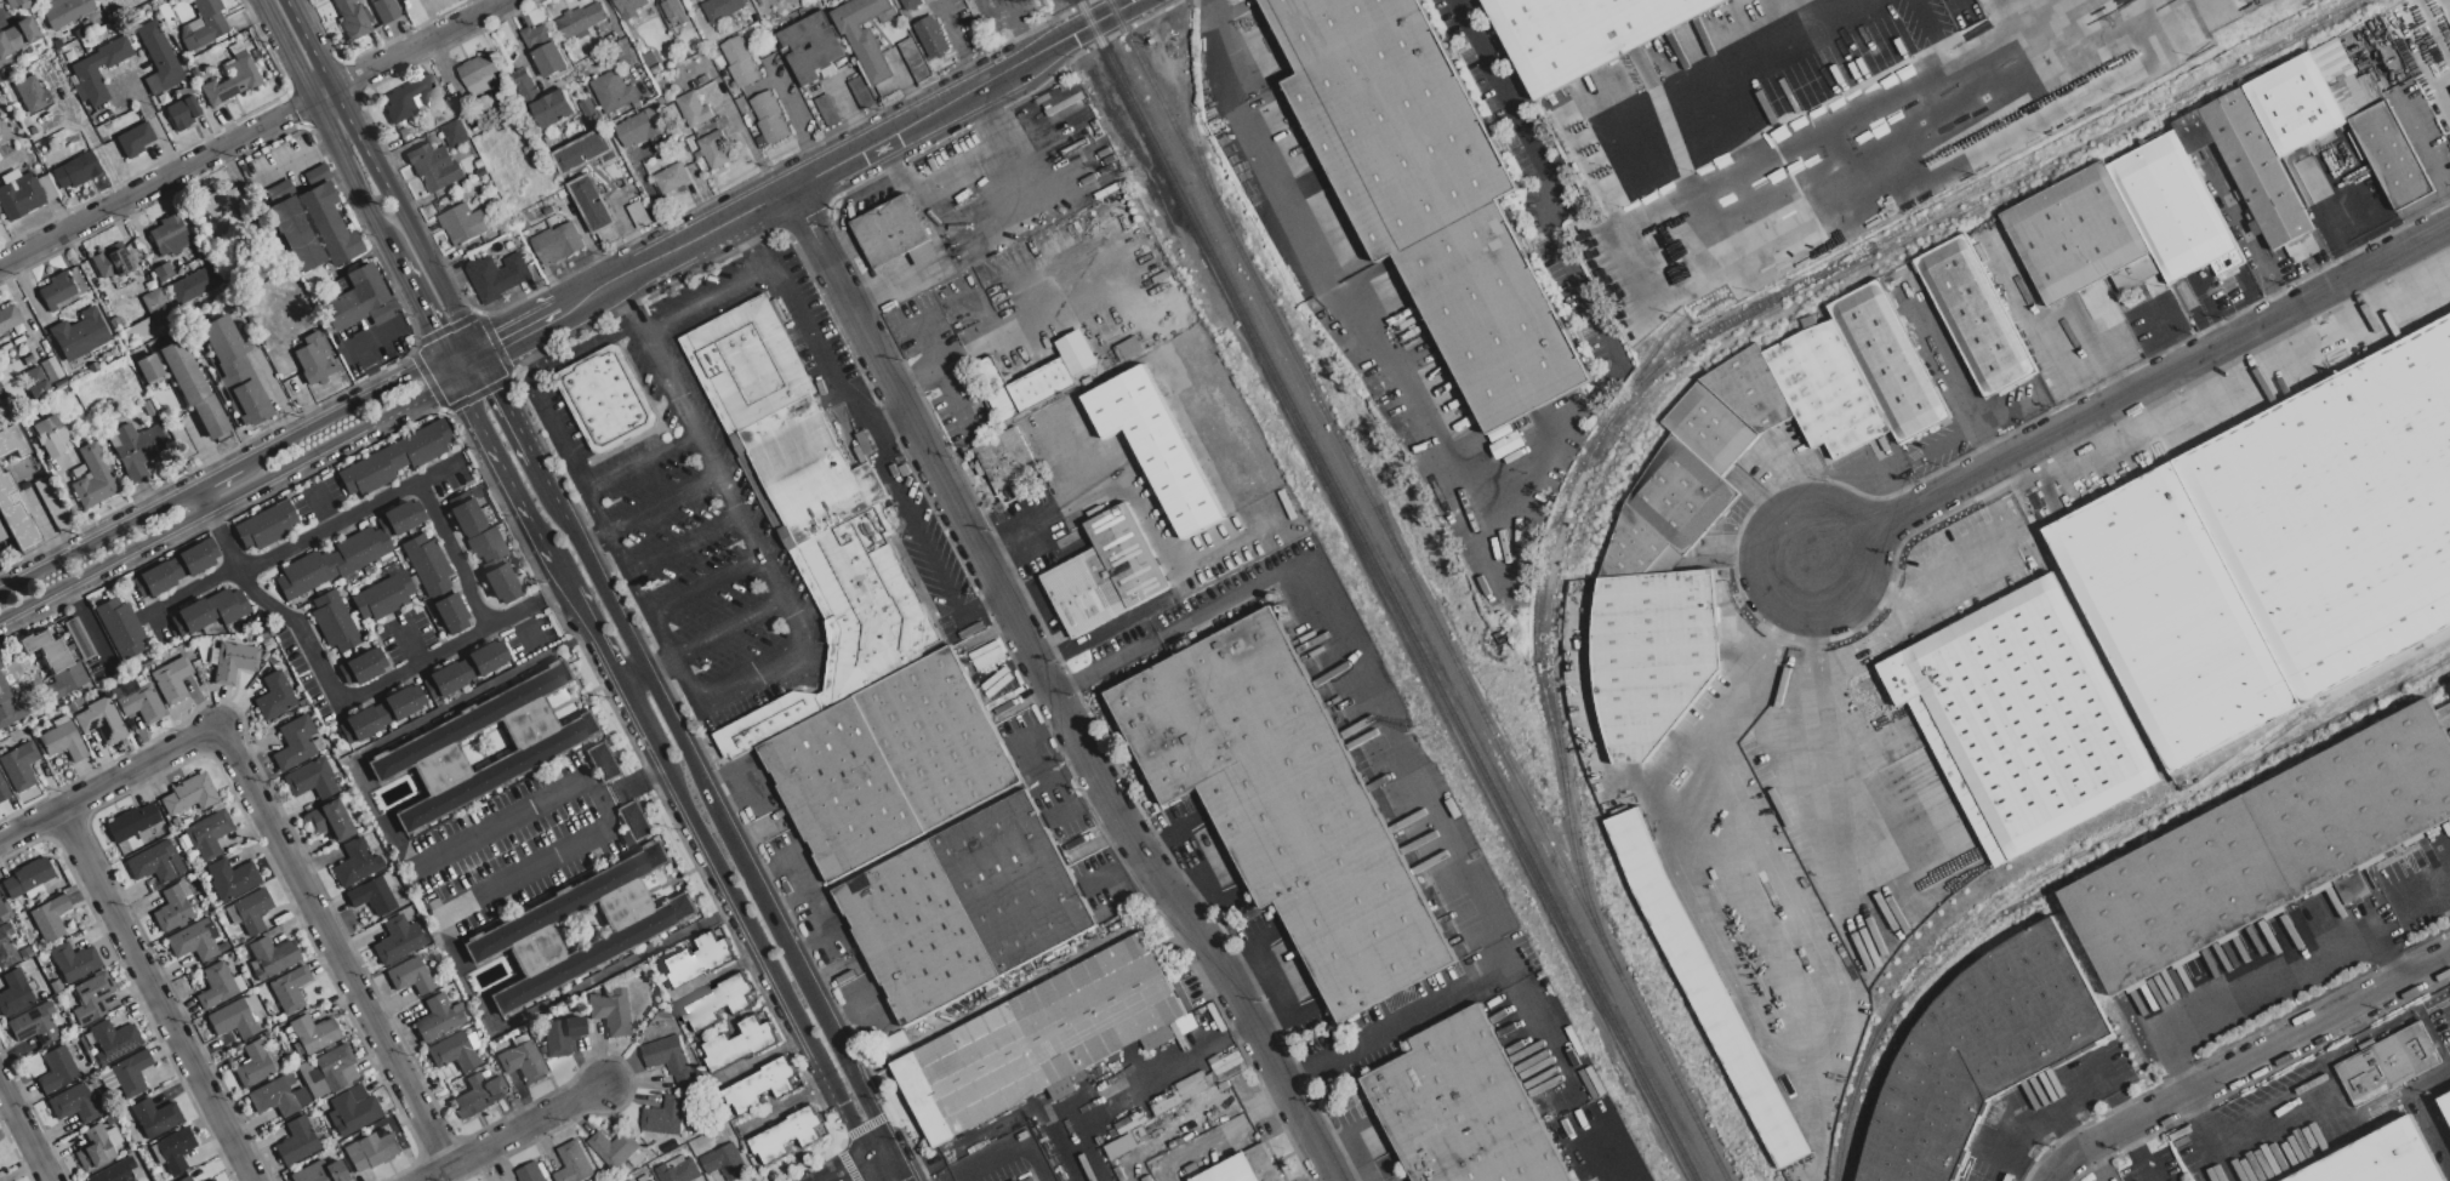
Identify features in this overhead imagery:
road: (1058, 0)
building: (908, 2)
power tower: (1041, 4)
railway: (1187, 4)
building: (628, 7)
building: (719, 7)
building: (383, 10)
building: (63, 11)
building: (672, 11)
road: (2166, 11)
building: (352, 17)
building: (580, 18)
building: (203, 24)
building: (1582, 34)
building: (16, 35)
building: (930, 35)
building: (866, 39)
road: (296, 45)
building: (809, 47)
building: (542, 49)
road: (1858, 51)
building: (158, 58)
building: (912, 58)
building: (737, 59)
road: (1742, 69)
building: (477, 72)
road: (2009, 74)
building: (85, 75)
building: (230, 80)
building: (610, 89)
building: (30, 93)
building: (408, 97)
building: (542, 98)
building: (691, 108)
building: (182, 112)
building: (767, 115)
building: (2335, 115)
road: (792, 116)
road: (997, 121)
building: (639, 125)
road: (245, 129)
building: (452, 132)
road: (86, 133)
building: (132, 138)
road: (2421, 144)
building: (712, 148)
building: (583, 150)
road: (849, 155)
road: (294, 161)
building: (432, 165)
building: (74, 170)
building: (670, 176)
power tower: (1136, 176)
road: (353, 178)
road: (1546, 179)
road: (910, 183)
building: (22, 193)
building: (1426, 193)
building: (220, 202)
building: (593, 206)
building: (2156, 207)
road: (404, 217)
building: (462, 222)
road: (627, 223)
building: (312, 228)
building: (893, 233)
road: (1760, 233)
building: (167, 235)
road: (2341, 235)
building: (555, 241)
road: (2251, 245)
building: (110, 259)
road: (1117, 266)
road: (940, 268)
building: (495, 274)
building: (193, 284)
building: (55, 290)
road: (705, 293)
road: (1334, 293)
building: (358, 299)
building: (155, 304)
building: (1973, 314)
road: (425, 315)
building: (7, 316)
railway: (1755, 319)
road: (1004, 327)
traffic signals: (432, 330)
building: (79, 333)
road: (519, 333)
traffic signals: (500, 344)
road: (532, 344)
road: (354, 347)
building: (1075, 352)
road: (659, 356)
building: (312, 358)
road: (463, 363)
building: (147, 366)
building: (233, 370)
road: (524, 371)
railway: (1646, 375)
road: (945, 376)
building: (34, 382)
road: (1956, 383)
building: (1024, 386)
building: (190, 387)
road: (461, 387)
traffic signals: (494, 389)
road: (2132, 392)
traffic signals: (429, 396)
building: (606, 398)
road: (503, 407)
road: (342, 411)
road: (890, 428)
road: (867, 433)
building: (47, 435)
building: (11, 440)
building: (1155, 444)
building: (135, 447)
road: (1087, 455)
building: (1003, 458)
building: (391, 460)
road: (1523, 460)
road: (642, 462)
building: (92, 477)
road: (217, 477)
road: (520, 493)
road: (1796, 497)
road: (204, 498)
road: (230, 500)
road: (554, 500)
road: (646, 507)
building: (1670, 510)
building: (15, 515)
road: (600, 517)
building: (264, 525)
road: (98, 538)
road: (682, 538)
road: (306, 540)
building: (483, 548)
building: (2277, 550)
building: (346, 552)
road: (993, 552)
road: (450, 554)
road: (1170, 565)
building: (173, 569)
building: (1105, 572)
road: (706, 582)
building: (434, 583)
road: (780, 583)
railway: (1419, 589)
railway: (1388, 590)
building: (381, 595)
road: (643, 601)
road: (270, 610)
road: (796, 616)
building: (332, 621)
building: (844, 621)
building: (119, 628)
road: (594, 628)
road: (454, 641)
building: (44, 649)
building: (233, 661)
building: (359, 667)
building: (462, 669)
road: (751, 672)
road: (634, 673)
building: (67, 679)
building: (170, 679)
road: (684, 680)
road: (1050, 692)
building: (273, 696)
railway: (2330, 700)
building: (7, 704)
building: (381, 713)
building: (2019, 718)
building: (98, 720)
road: (1806, 723)
power tower: (1426, 729)
building: (61, 741)
building: (294, 743)
building: (484, 746)
road: (1400, 752)
road: (1864, 754)
building: (603, 761)
building: (18, 766)
road: (643, 775)
building: (309, 780)
road: (108, 787)
road: (741, 787)
building: (2, 791)
building: (187, 794)
building: (1284, 808)
railway: (2203, 808)
building: (327, 820)
road: (376, 820)
building: (633, 820)
building: (131, 822)
road: (1183, 823)
railway: (2127, 827)
building: (206, 834)
road: (1156, 837)
road: (736, 839)
building: (2263, 849)
building: (153, 862)
building: (354, 863)
road: (1185, 868)
building: (25, 877)
building: (229, 879)
road: (2422, 892)
road: (1223, 895)
building: (370, 896)
road: (803, 898)
road: (788, 903)
building: (963, 906)
building: (171, 907)
road: (1200, 907)
building: (1, 909)
building: (250, 909)
road: (745, 909)
building: (49, 918)
building: (579, 926)
building: (193, 940)
building: (397, 940)
building: (6, 948)
road: (332, 948)
building: (269, 955)
building: (695, 959)
building: (73, 962)
railway: (1902, 964)
building: (408, 976)
road: (2268, 980)
building: (215, 985)
building: (287, 988)
building: (13, 993)
building: (90, 997)
road: (158, 997)
building: (714, 1002)
road: (472, 1006)
road: (856, 1008)
road: (1761, 1008)
building: (609, 1012)
building: (437, 1017)
building: (232, 1019)
building: (32, 1025)
building: (312, 1033)
building: (559, 1035)
railway: (1898, 1037)
building: (112, 1039)
building: (1037, 1040)
building: (739, 1043)
building: (1977, 1051)
building: (668, 1057)
building: (253, 1063)
building: (2386, 1063)
building: (56, 1069)
road: (1167, 1069)
building: (330, 1071)
road: (2256, 1072)
building: (130, 1073)
building: (758, 1085)
building: (478, 1094)
building: (2444, 1094)
building: (277, 1096)
building: (72, 1103)
building: (1460, 1107)
building: (351, 1109)
building: (663, 1116)
building: (153, 1117)
road: (24, 1130)
road: (511, 1134)
road: (1223, 1134)
building: (785, 1135)
building: (295, 1141)
road: (881, 1142)
building: (614, 1148)
building: (93, 1149)
building: (172, 1149)
building: (369, 1151)
road: (1008, 1151)
building: (2376, 1158)
building: (724, 1160)
road: (904, 1160)
building: (571, 1163)
road: (836, 1163)
road: (877, 1163)
building: (1240, 1168)
building: (678, 1170)
building: (115, 1173)
building: (319, 1173)
building: (530, 1173)
road: (1329, 1177)
building: (183, 1179)
building: (1026, 1179)
building: (210, 1180)
building: (650, 1180)
road: (948, 1180)

